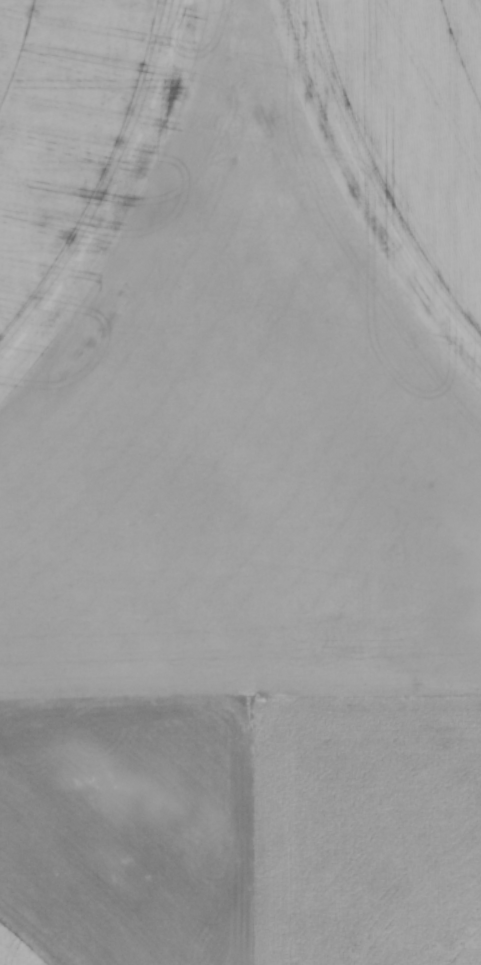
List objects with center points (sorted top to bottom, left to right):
crop: (240, 482)

